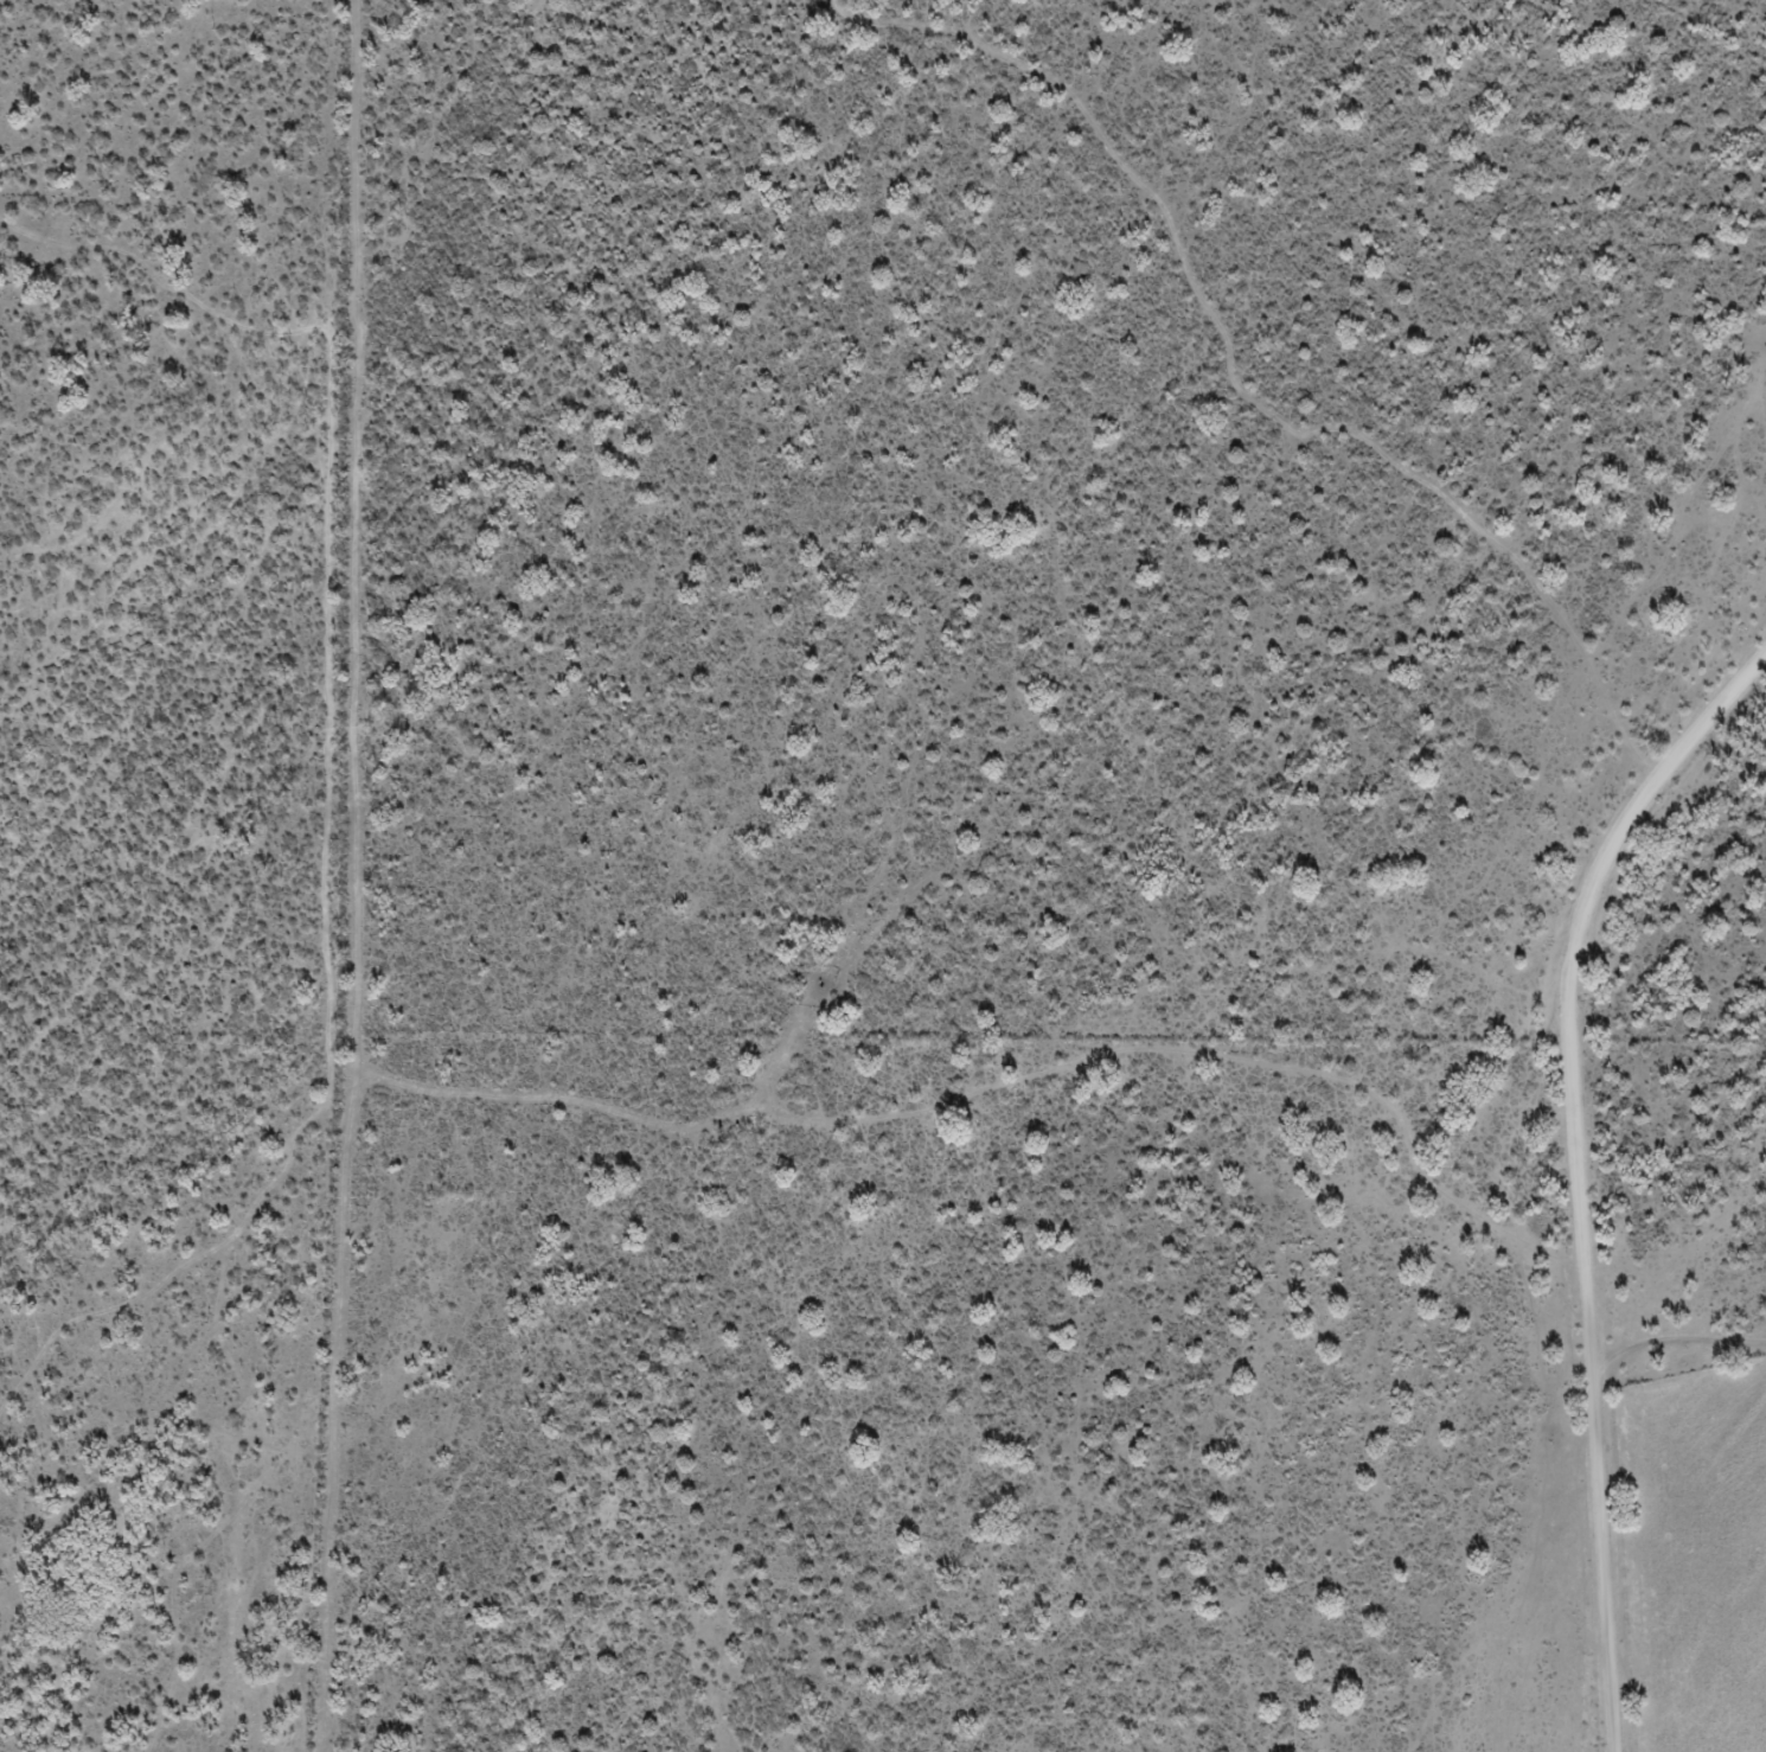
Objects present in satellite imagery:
road: (1614, 1188)

